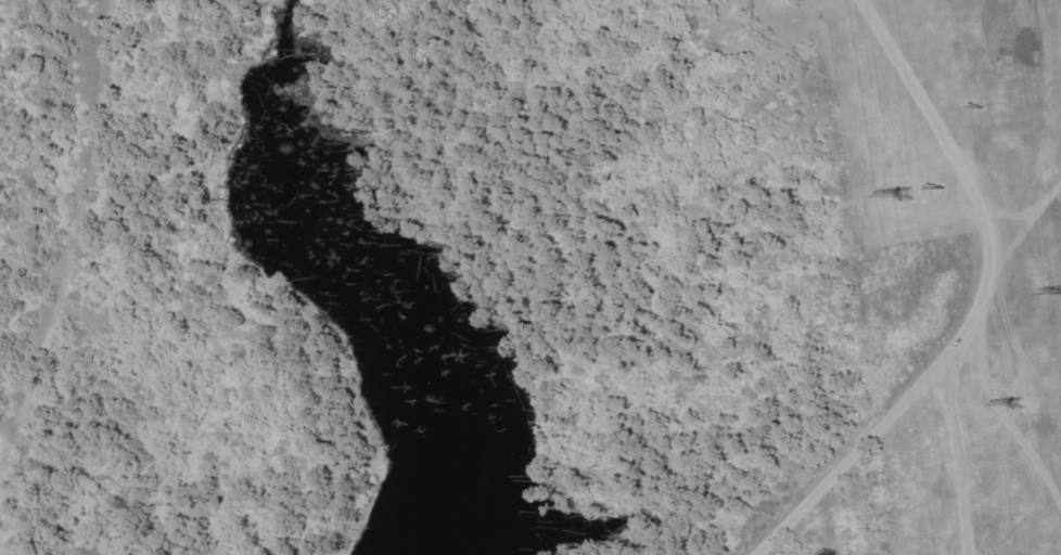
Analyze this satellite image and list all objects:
road: (973, 300)

